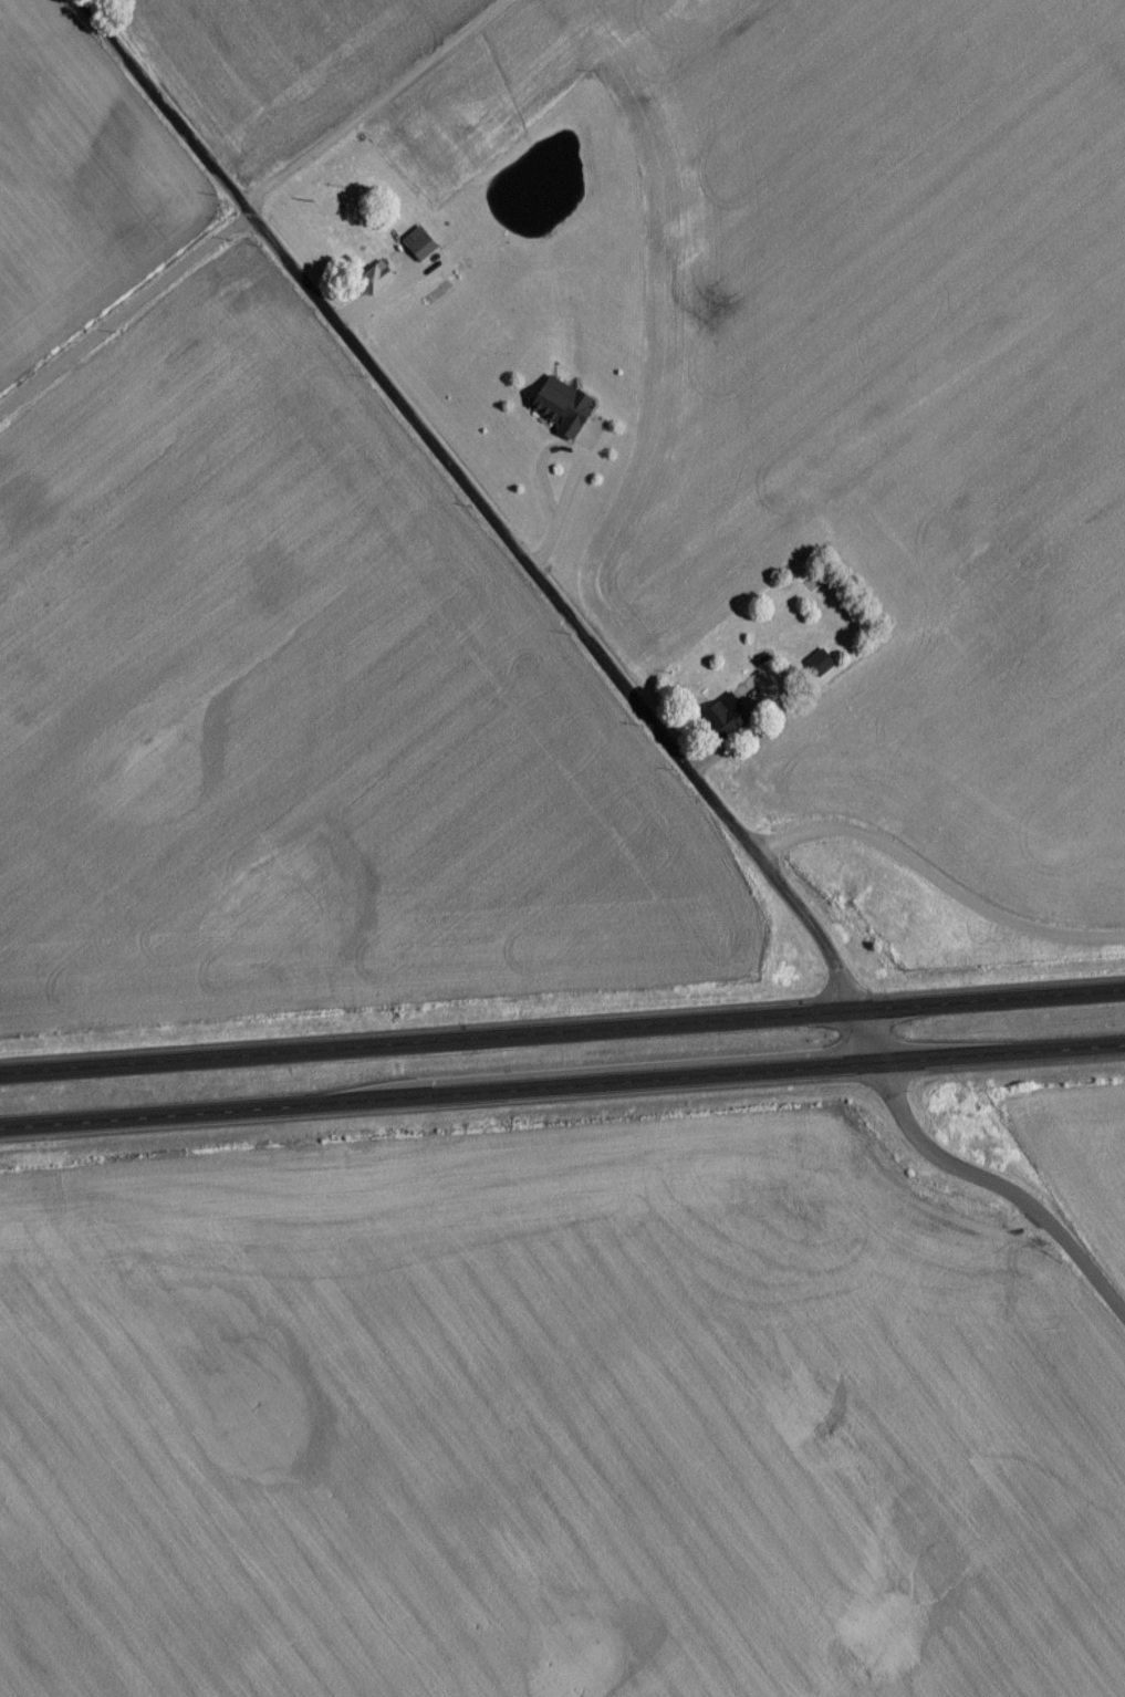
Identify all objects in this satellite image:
road: (155, 108)
road: (253, 206)
building: (418, 258)
building: (566, 414)
road: (576, 467)
road: (575, 631)
building: (822, 670)
road: (742, 731)
road: (940, 891)
road: (562, 1035)
road: (562, 1089)
road: (997, 1194)

